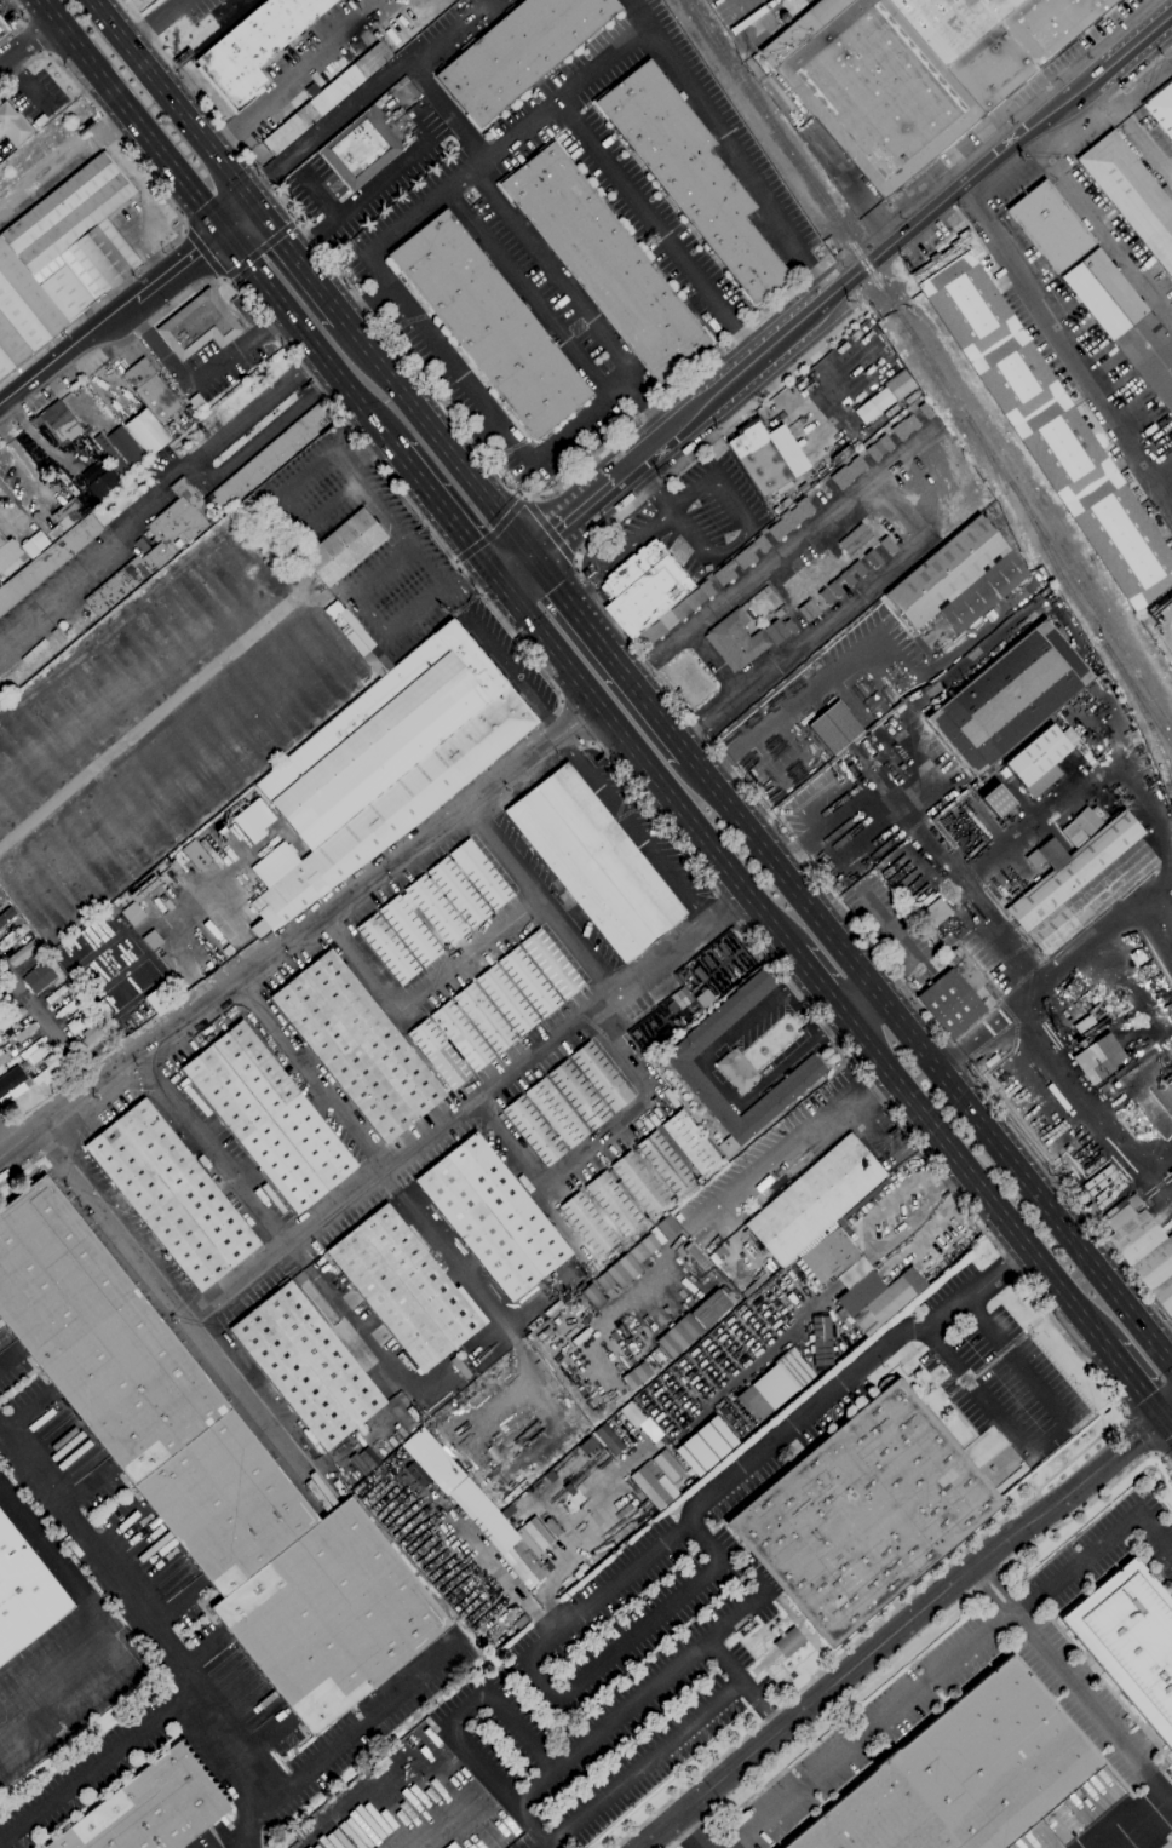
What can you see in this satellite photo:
parking lot: (6, 12)
road: (22, 22)
road: (153, 22)
building: (4, 27)
road: (1165, 34)
road: (35, 38)
street lamp: (5, 42)
road: (28, 44)
road: (1131, 46)
building: (254, 47)
building: (517, 52)
street lamp: (65, 70)
building: (914, 70)
road: (1139, 74)
railway: (126, 78)
road: (280, 84)
road: (368, 92)
parking lot: (35, 96)
road: (167, 98)
building: (326, 99)
building: (1161, 109)
road: (446, 111)
road: (132, 116)
building: (12, 126)
road: (1131, 131)
road: (730, 147)
building: (358, 150)
road: (61, 155)
road: (125, 166)
road: (976, 171)
building: (689, 176)
road: (620, 183)
building: (1131, 195)
traffic signals: (246, 196)
road: (321, 196)
road: (972, 206)
road: (176, 211)
road: (235, 214)
road: (133, 224)
road: (1097, 224)
road: (404, 225)
building: (1049, 226)
traffic signals: (225, 234)
road: (317, 239)
railway: (852, 247)
building: (61, 257)
road: (294, 257)
road: (540, 257)
building: (603, 264)
road: (180, 269)
road: (234, 271)
road: (527, 292)
road: (833, 292)
building: (1124, 322)
building: (489, 325)
building: (197, 326)
road: (308, 339)
road: (65, 350)
road: (757, 357)
road: (1073, 361)
road: (200, 380)
building: (897, 385)
building: (150, 391)
road: (479, 402)
road: (439, 406)
building: (871, 406)
building: (924, 412)
building: (1044, 421)
building: (57, 425)
building: (903, 427)
building: (145, 432)
road: (435, 437)
road: (663, 440)
building: (100, 442)
building: (878, 448)
building: (269, 457)
building: (111, 458)
road: (370, 458)
building: (758, 458)
road: (199, 466)
building: (848, 472)
building: (103, 483)
railway: (1005, 494)
road: (524, 499)
road: (518, 505)
building: (240, 507)
road: (444, 512)
road: (902, 512)
building: (62, 518)
road: (570, 518)
building: (789, 520)
road: (396, 523)
building: (854, 539)
building: (34, 544)
building: (760, 544)
building: (886, 546)
building: (343, 547)
building: (162, 549)
building: (7, 553)
road: (103, 556)
traffic signals: (528, 557)
building: (743, 557)
building: (872, 559)
building: (47, 561)
road: (513, 568)
building: (858, 569)
building: (723, 573)
building: (959, 576)
building: (846, 578)
traffic signals: (500, 580)
building: (834, 587)
building: (642, 589)
building: (825, 597)
building: (806, 610)
railway: (1093, 610)
road: (368, 612)
building: (673, 615)
railway: (1090, 622)
building: (745, 638)
building: (360, 642)
road: (608, 654)
road: (711, 665)
road: (513, 676)
road: (806, 691)
building: (1009, 698)
building: (898, 710)
railway: (1144, 716)
road: (574, 725)
building: (834, 729)
building: (861, 745)
building: (1036, 762)
road: (644, 765)
building: (384, 767)
building: (872, 768)
road: (751, 796)
building: (995, 802)
road: (648, 810)
building: (252, 821)
road: (633, 831)
building: (194, 855)
building: (593, 862)
building: (459, 872)
building: (479, 874)
building: (1080, 883)
building: (143, 889)
building: (458, 893)
building: (448, 903)
building: (111, 909)
road: (726, 909)
building: (435, 911)
building: (132, 914)
building: (258, 929)
building: (409, 930)
building: (931, 934)
road: (300, 936)
building: (153, 940)
building: (386, 949)
building: (23, 952)
building: (229, 953)
building: (166, 962)
building: (551, 964)
road: (592, 969)
building: (699, 975)
building: (38, 977)
building: (528, 982)
road: (817, 982)
road: (423, 991)
road: (1029, 993)
building: (954, 995)
building: (680, 998)
building: (505, 1000)
building: (700, 1000)
building: (156, 1002)
road: (857, 1002)
building: (483, 1017)
building: (79, 1022)
building: (90, 1037)
building: (460, 1037)
road: (47, 1038)
building: (33, 1046)
building: (356, 1046)
building: (454, 1051)
building: (437, 1055)
building: (983, 1058)
building: (1097, 1058)
building: (2, 1061)
road: (929, 1061)
building: (680, 1066)
building: (736, 1071)
building: (47, 1072)
building: (601, 1078)
road: (720, 1081)
building: (13, 1085)
building: (1114, 1085)
building: (1104, 1086)
building: (578, 1095)
building: (555, 1113)
building: (268, 1117)
building: (533, 1131)
road: (8, 1137)
building: (690, 1143)
road: (793, 1143)
road: (594, 1144)
road: (212, 1150)
road: (369, 1153)
building: (663, 1163)
road: (25, 1165)
road: (372, 1175)
road: (973, 1180)
building: (638, 1183)
building: (170, 1195)
building: (814, 1199)
building: (631, 1200)
building: (613, 1204)
building: (1137, 1206)
building: (1091, 1216)
building: (492, 1217)
building: (587, 1224)
building: (1102, 1228)
building: (1143, 1253)
building: (833, 1258)
building: (625, 1264)
road: (235, 1282)
building: (403, 1289)
building: (877, 1298)
building: (545, 1313)
building: (691, 1324)
building: (820, 1342)
road: (208, 1347)
building: (305, 1365)
building: (793, 1370)
building: (633, 1376)
road: (1133, 1381)
building: (753, 1402)
traffic signals: (1162, 1417)
road: (1167, 1423)
road: (1108, 1429)
road: (1138, 1435)
road: (1042, 1439)
building: (610, 1445)
building: (703, 1447)
road: (1162, 1447)
road: (1164, 1460)
building: (209, 1475)
building: (655, 1479)
building: (461, 1488)
building: (862, 1513)
road: (656, 1549)
road: (1000, 1585)
building: (24, 1595)
road: (987, 1595)
road: (93, 1613)
road: (902, 1624)
road: (151, 1632)
building: (788, 1642)
building: (1130, 1642)
road: (907, 1645)
road: (955, 1663)
road: (743, 1683)
road: (633, 1700)
road: (502, 1709)
road: (1093, 1709)
road: (360, 1728)
road: (643, 1763)
road: (97, 1764)
building: (963, 1774)
road: (498, 1787)
parking lot: (407, 1804)
building: (149, 1808)
road: (1138, 1825)
road: (686, 1833)

